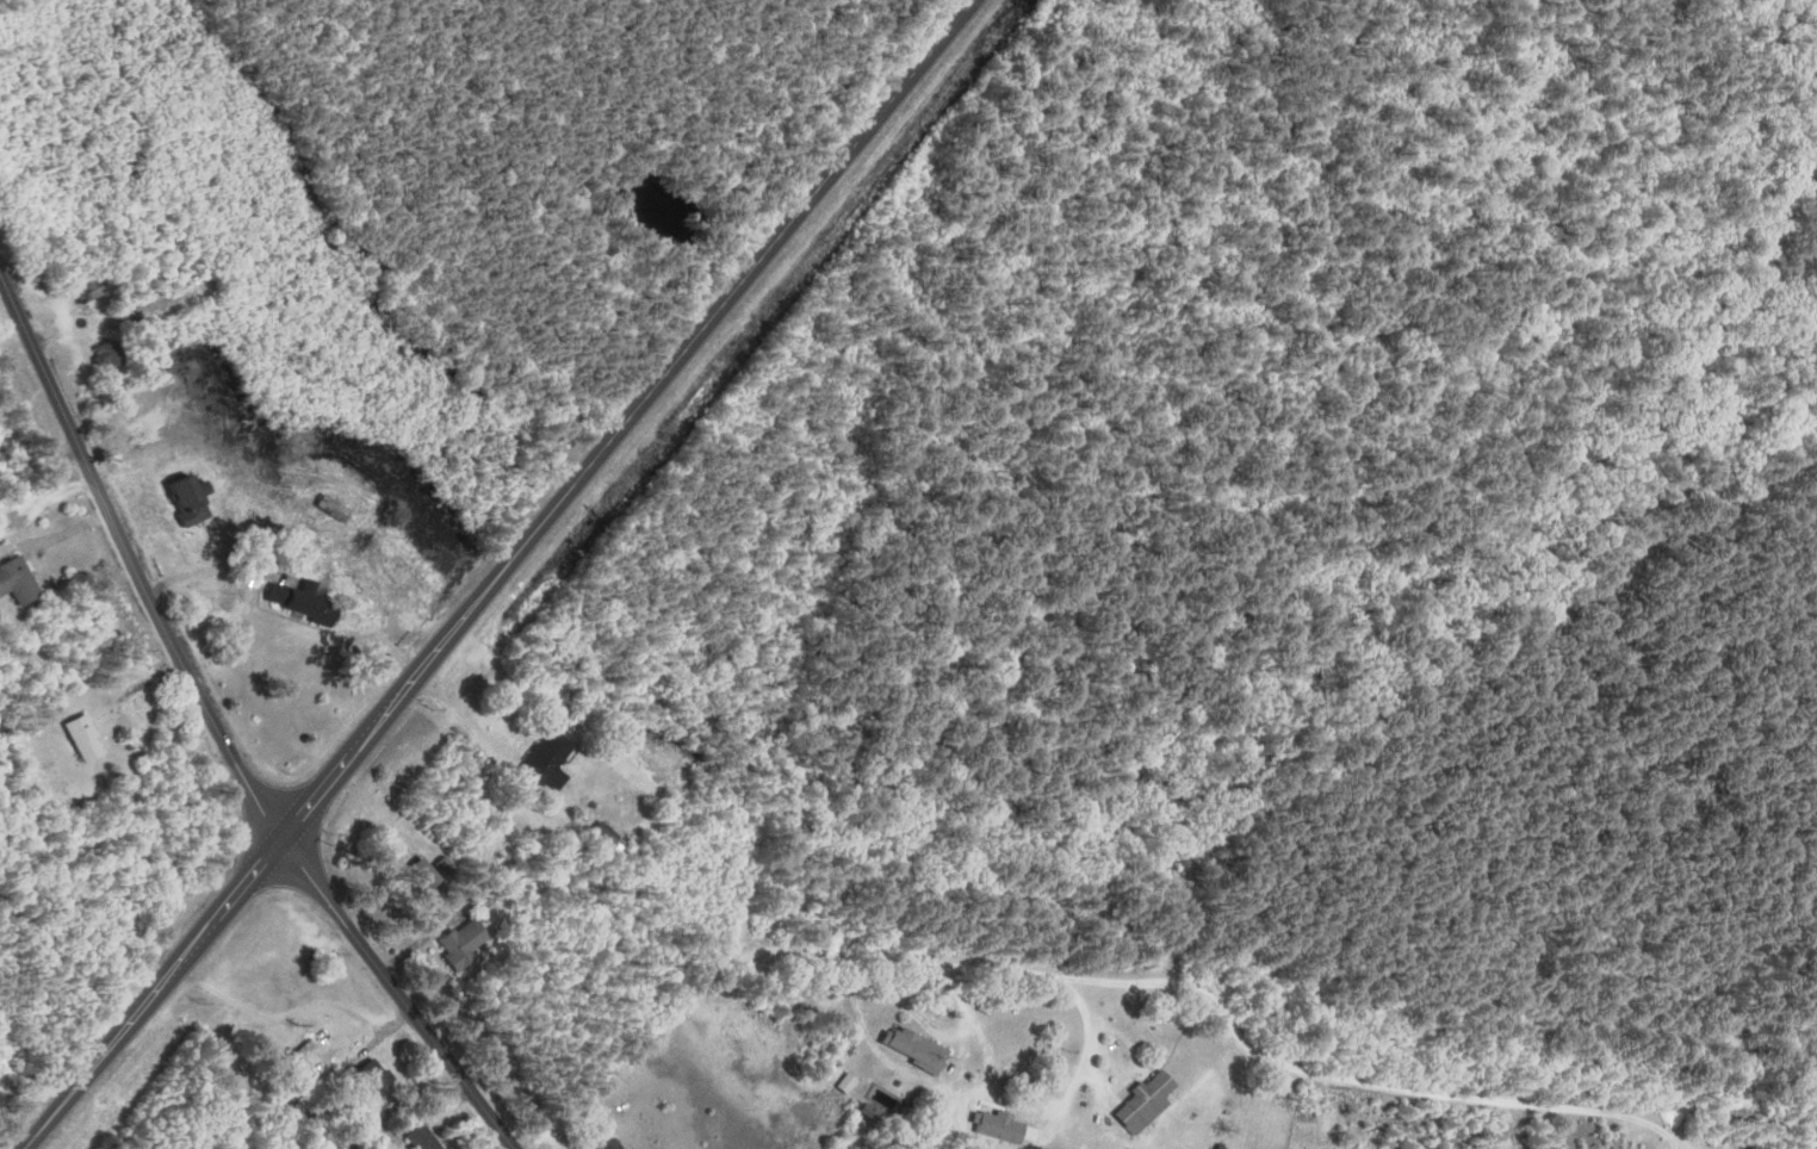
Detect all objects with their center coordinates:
building: (92, 290)
building: (112, 356)
building: (194, 499)
road: (45, 504)
building: (337, 509)
road: (498, 573)
building: (20, 582)
building: (304, 600)
road: (219, 735)
building: (89, 739)
building: (553, 760)
building: (436, 870)
building: (467, 942)
road: (755, 945)
building: (285, 970)
building: (916, 1049)
building: (379, 1076)
building: (848, 1086)
building: (1152, 1103)
building: (874, 1113)
building: (1010, 1129)
building: (424, 1139)
building: (614, 1144)

